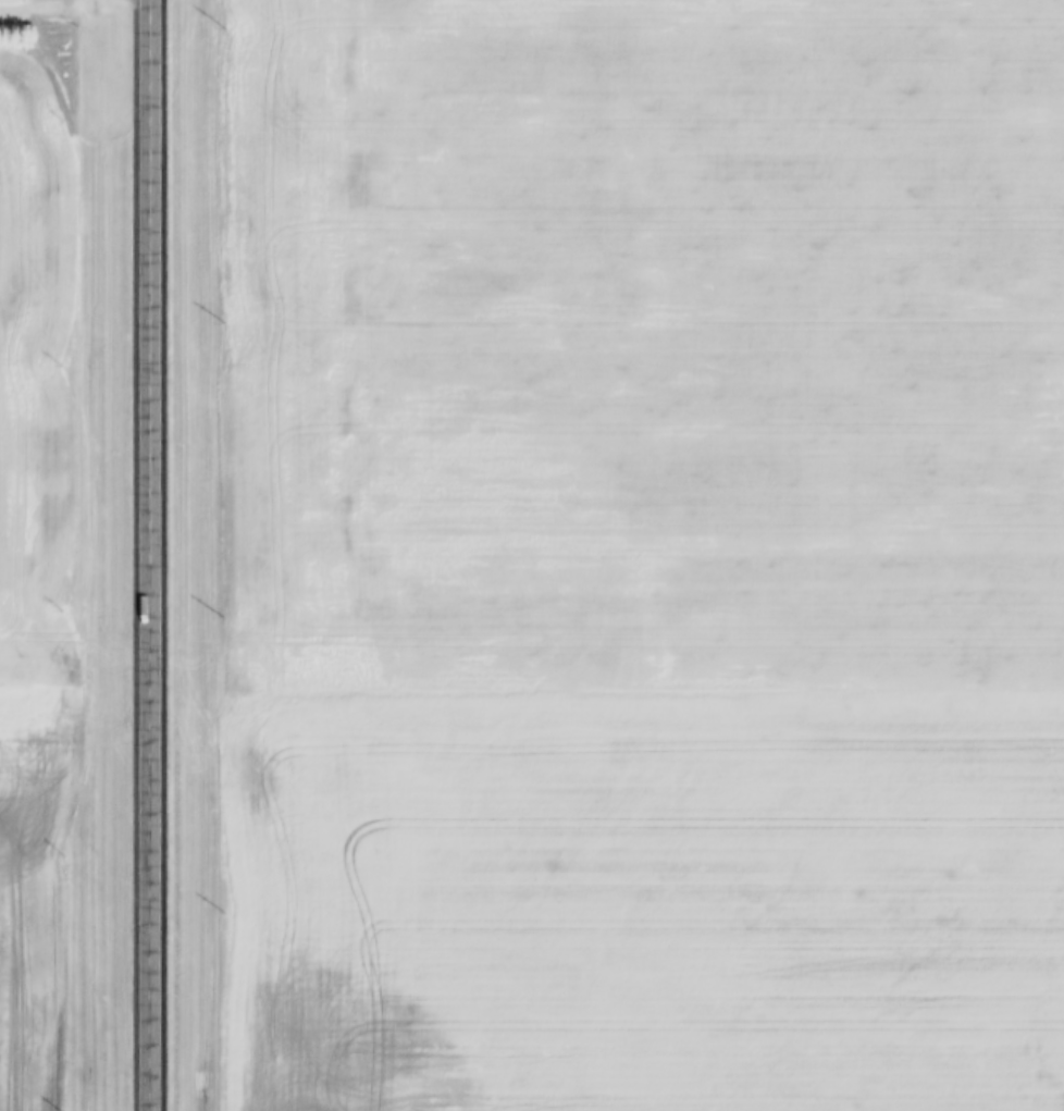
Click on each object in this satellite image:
building: (10, 1)
road: (148, 555)

